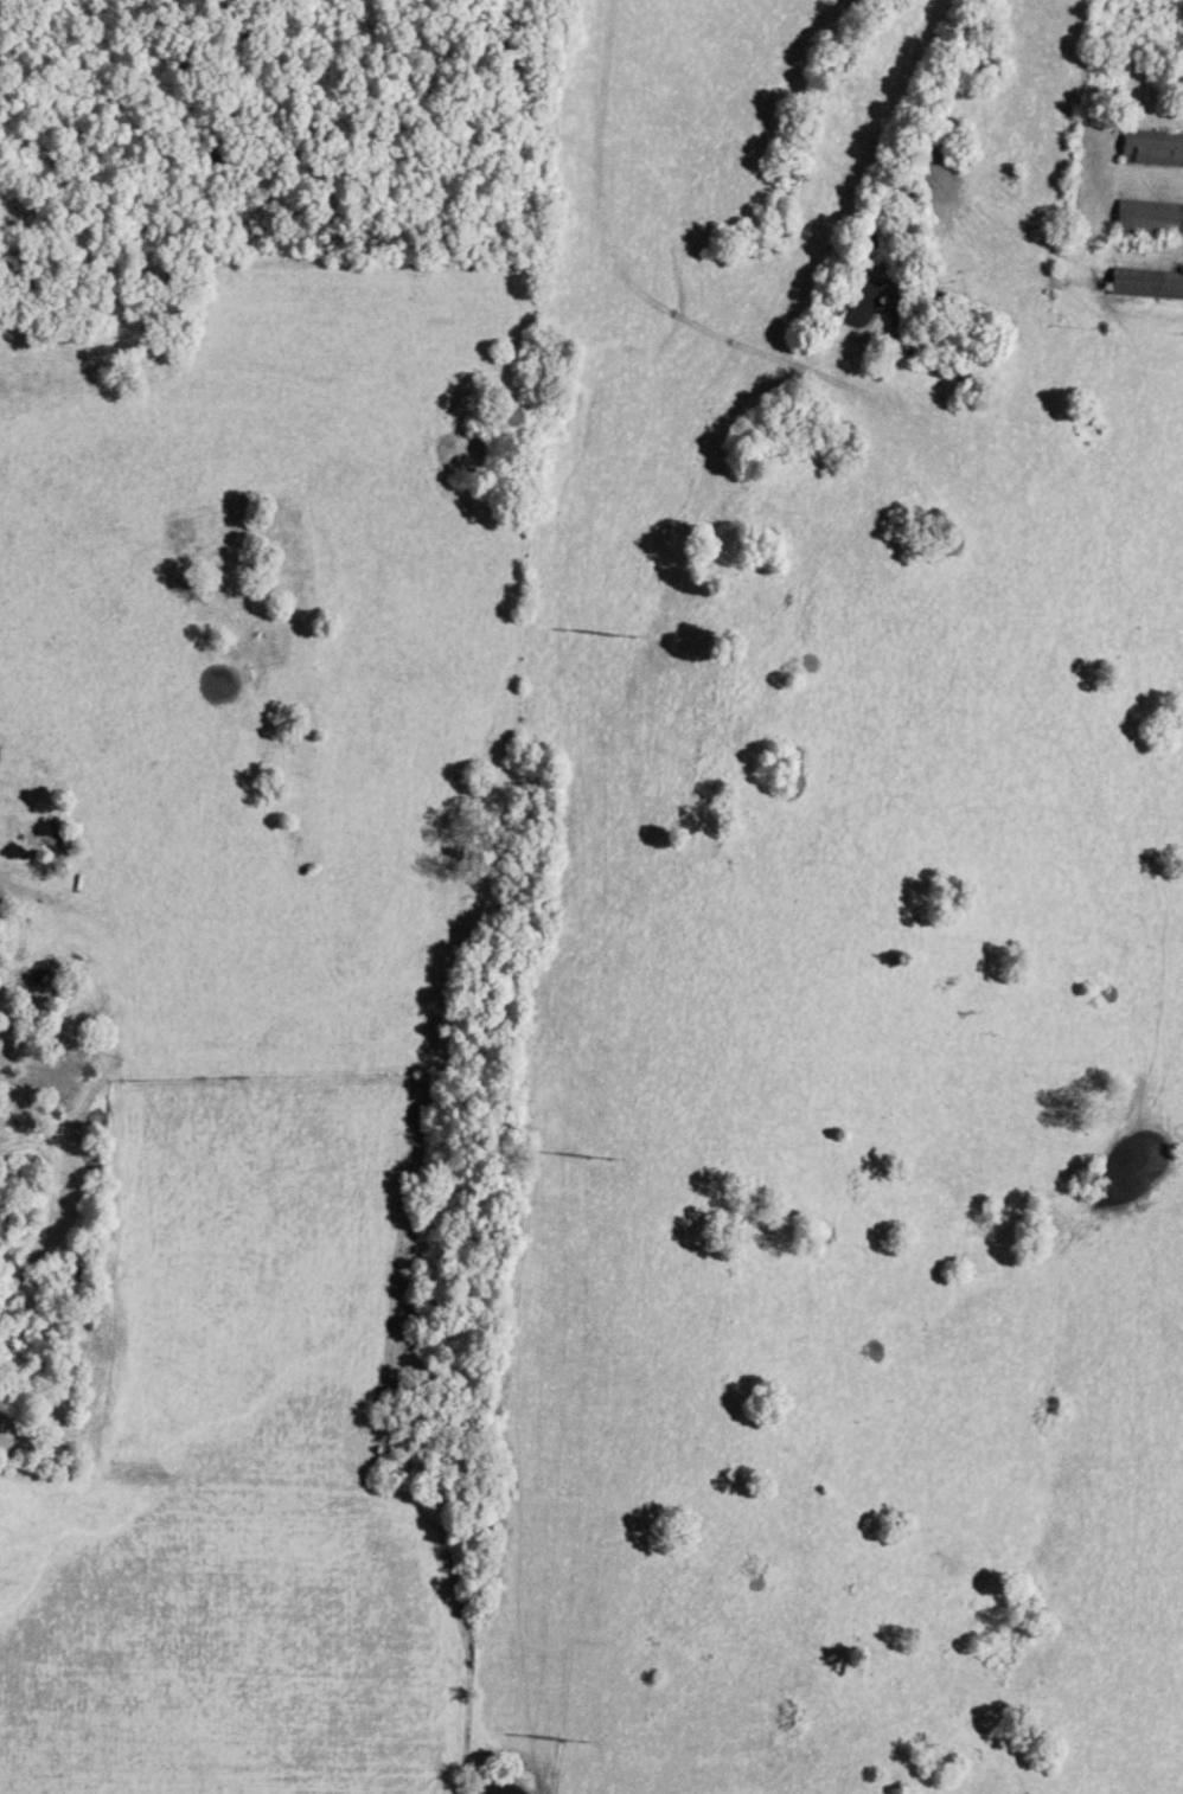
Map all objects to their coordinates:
building: (1151, 152)
building: (1149, 222)
building: (1145, 287)
power tower: (615, 640)
power tower: (584, 1153)
power tower: (558, 1737)

